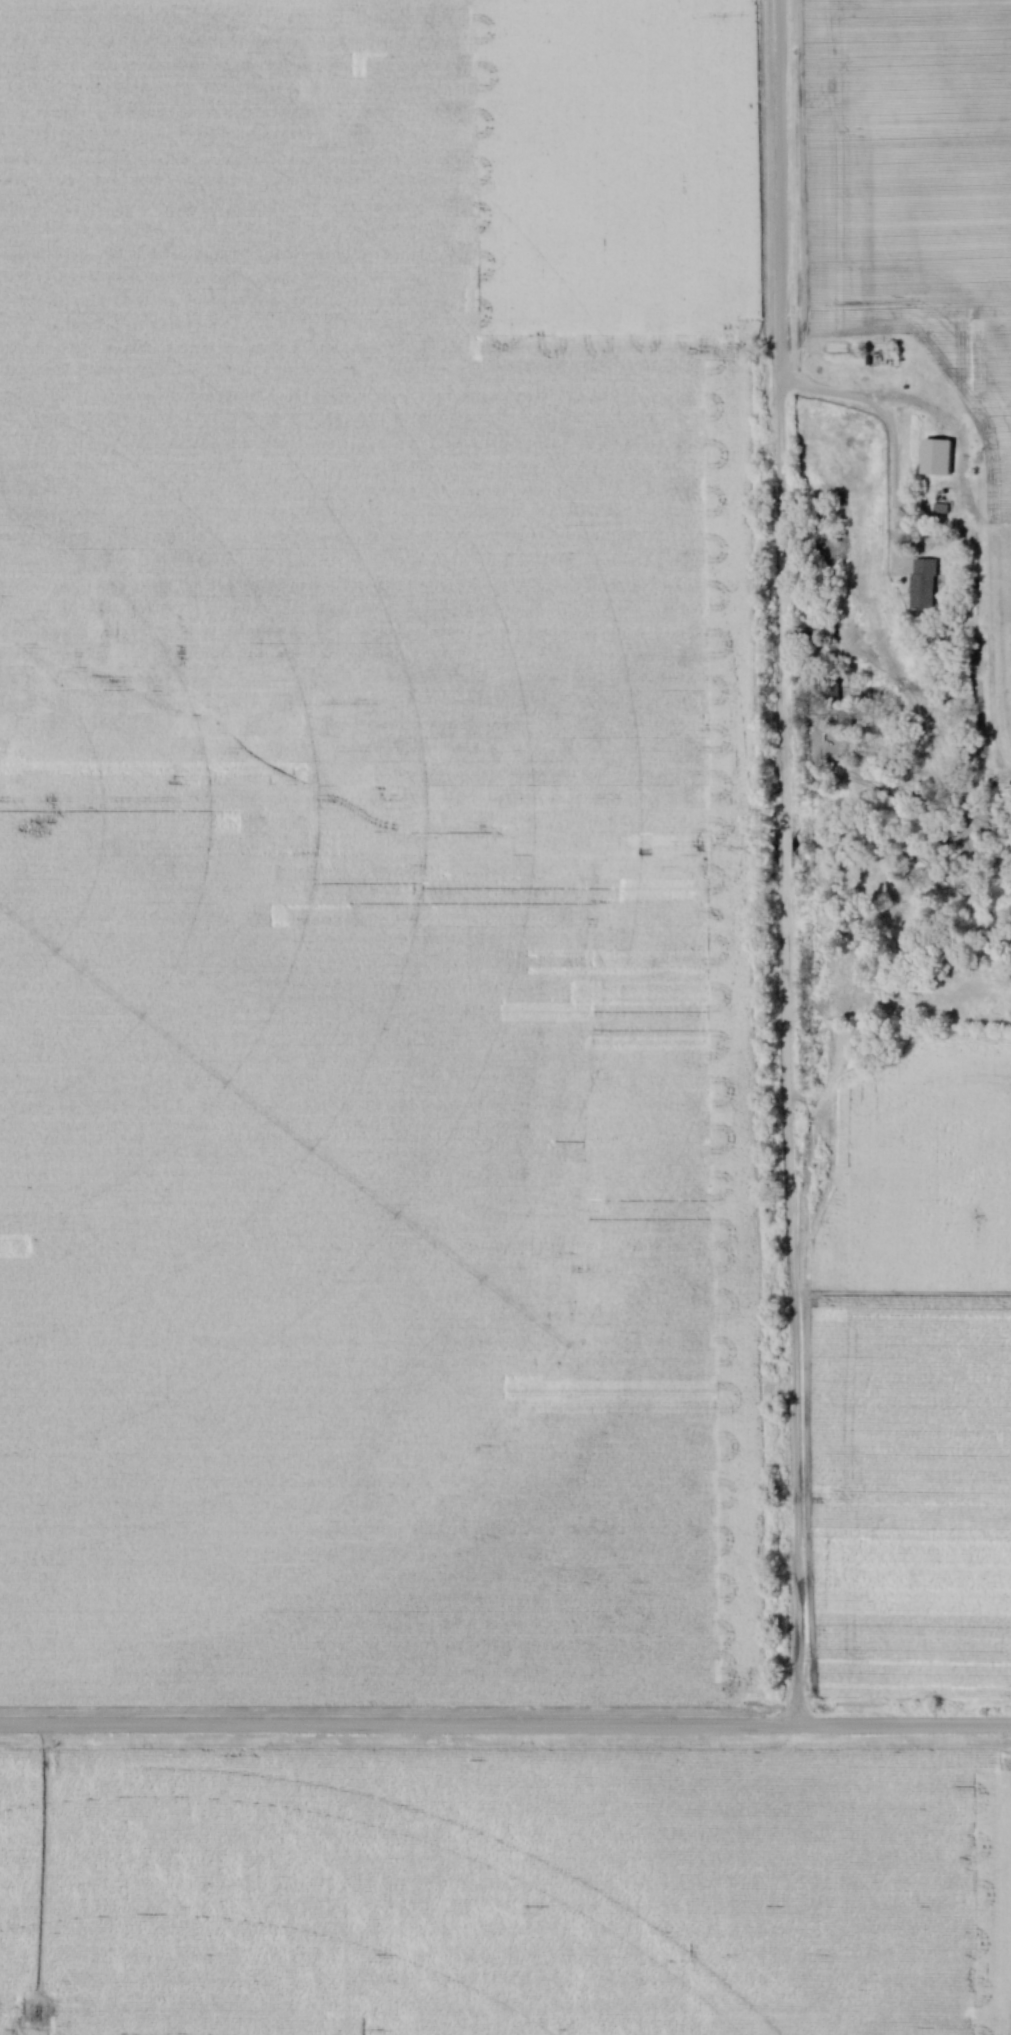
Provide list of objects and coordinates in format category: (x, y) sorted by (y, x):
road: (889, 435)
building: (925, 584)
road: (781, 865)
road: (505, 1730)

